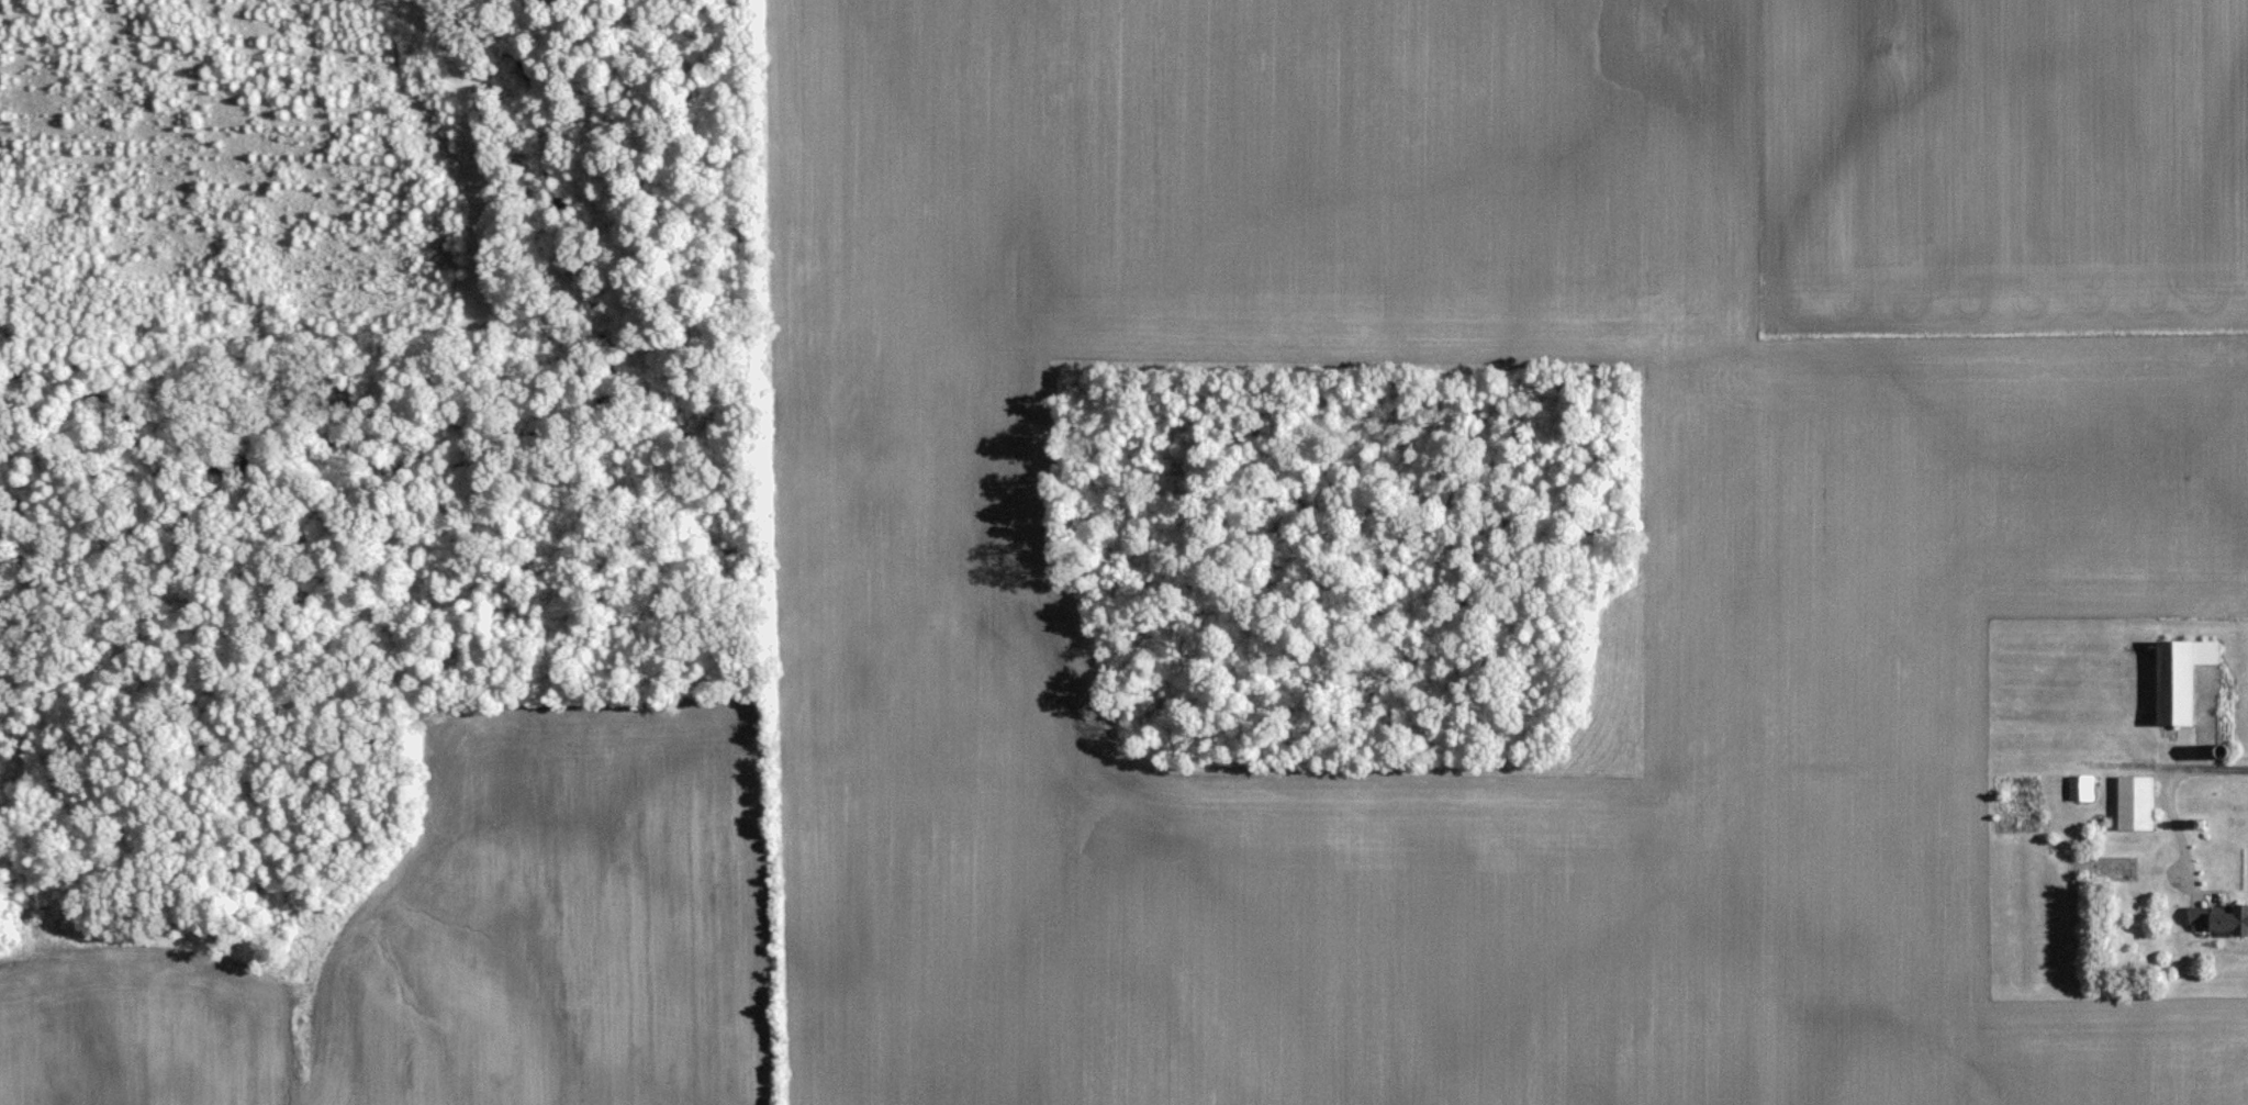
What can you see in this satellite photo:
building: (2167, 680)
road: (2167, 775)
building: (2132, 801)
building: (2218, 917)

